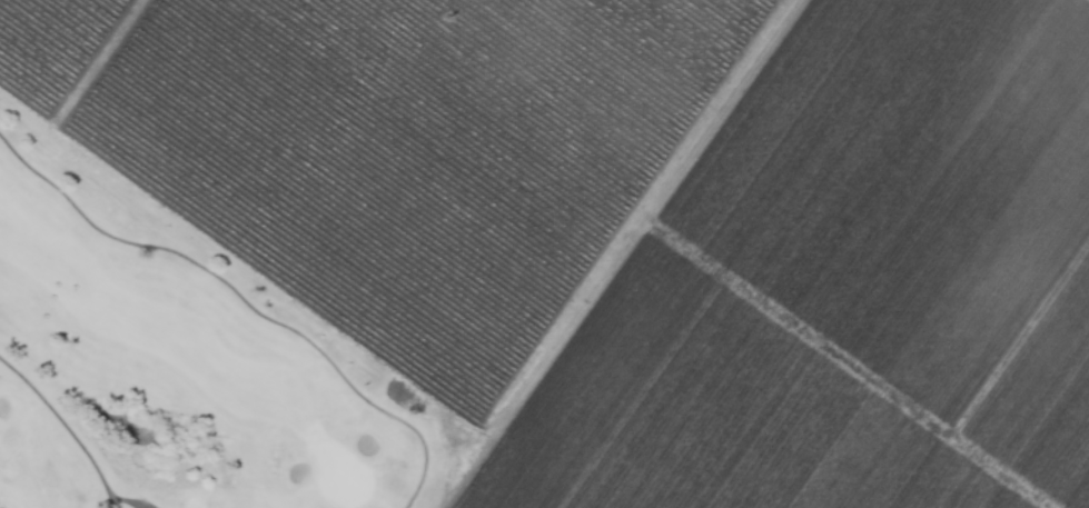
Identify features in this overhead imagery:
park: (178, 368)

